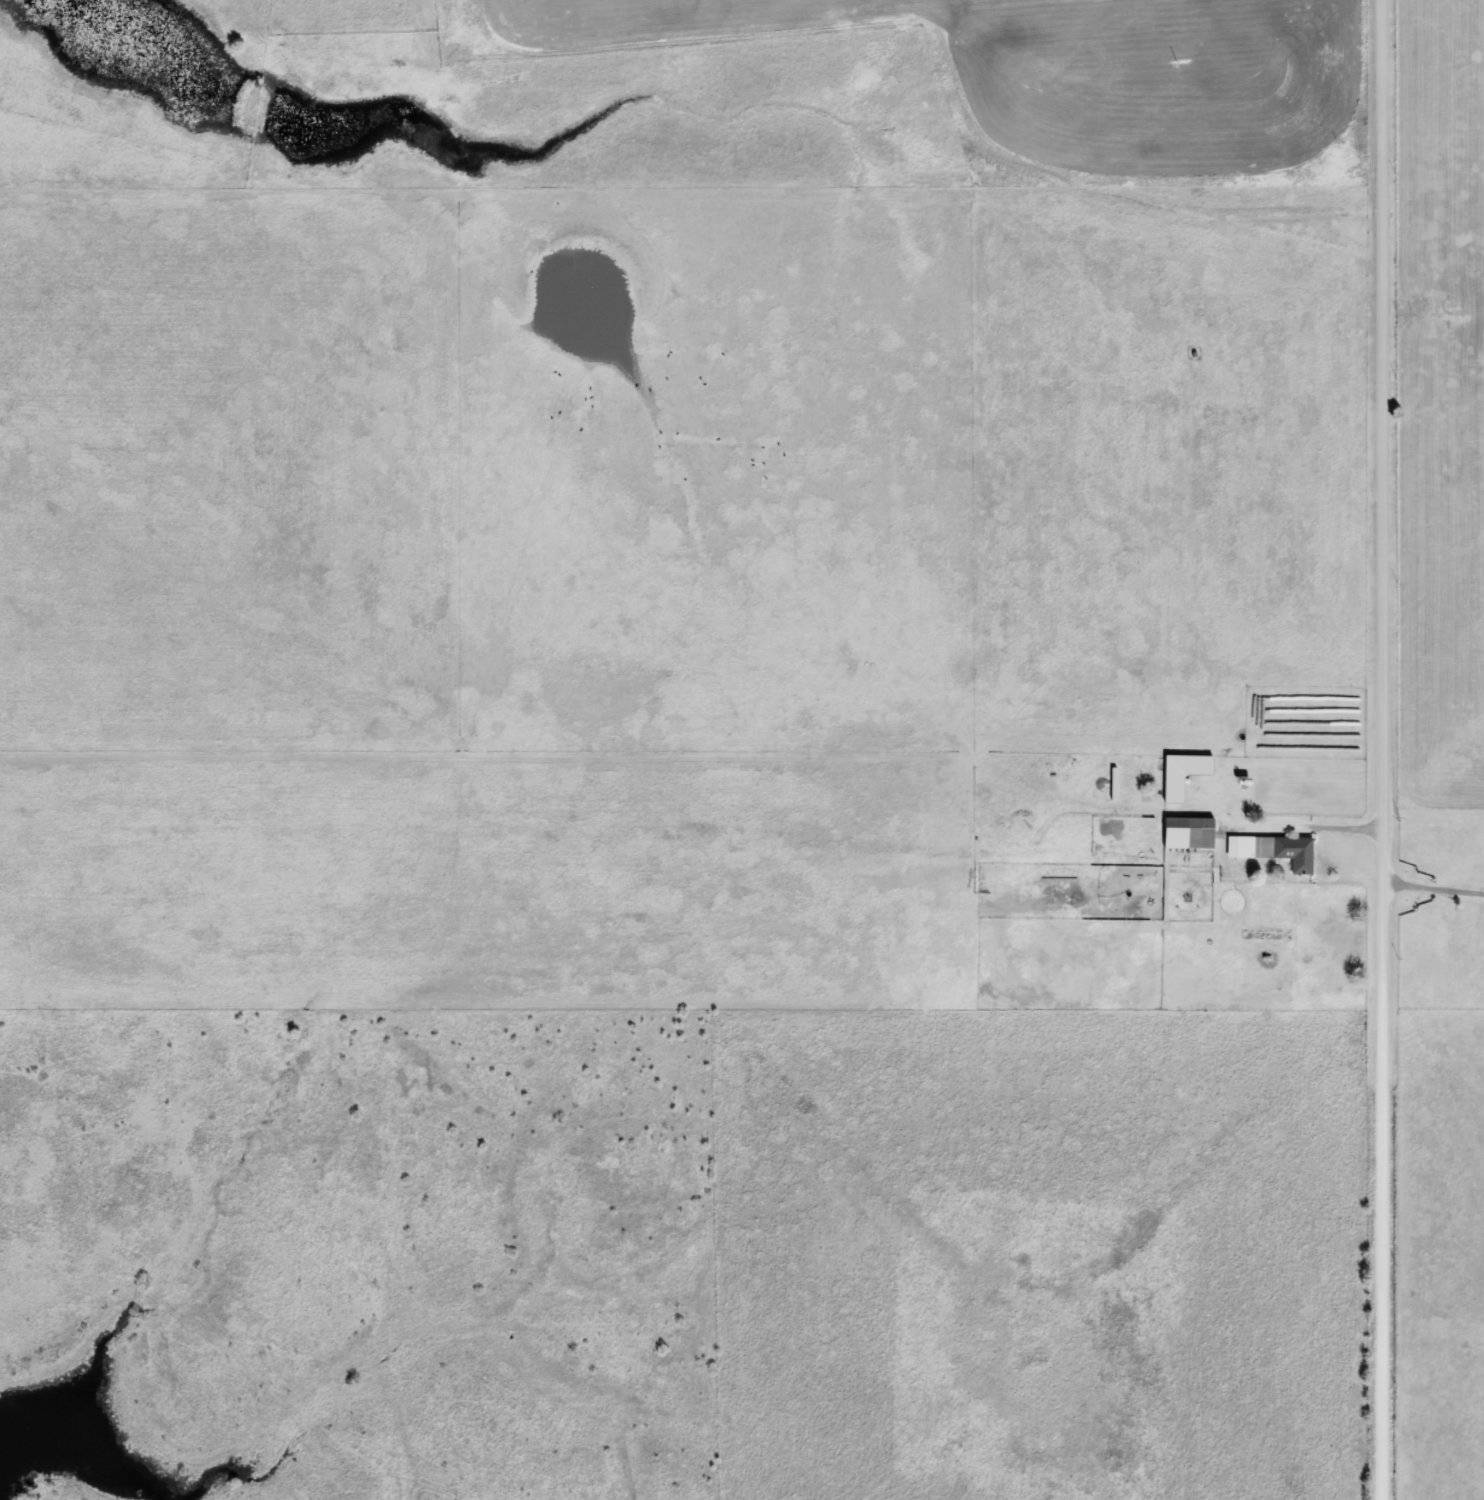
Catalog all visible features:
road: (1387, 749)
building: (1180, 774)
road: (1309, 829)
building: (1187, 834)
building: (1272, 851)

